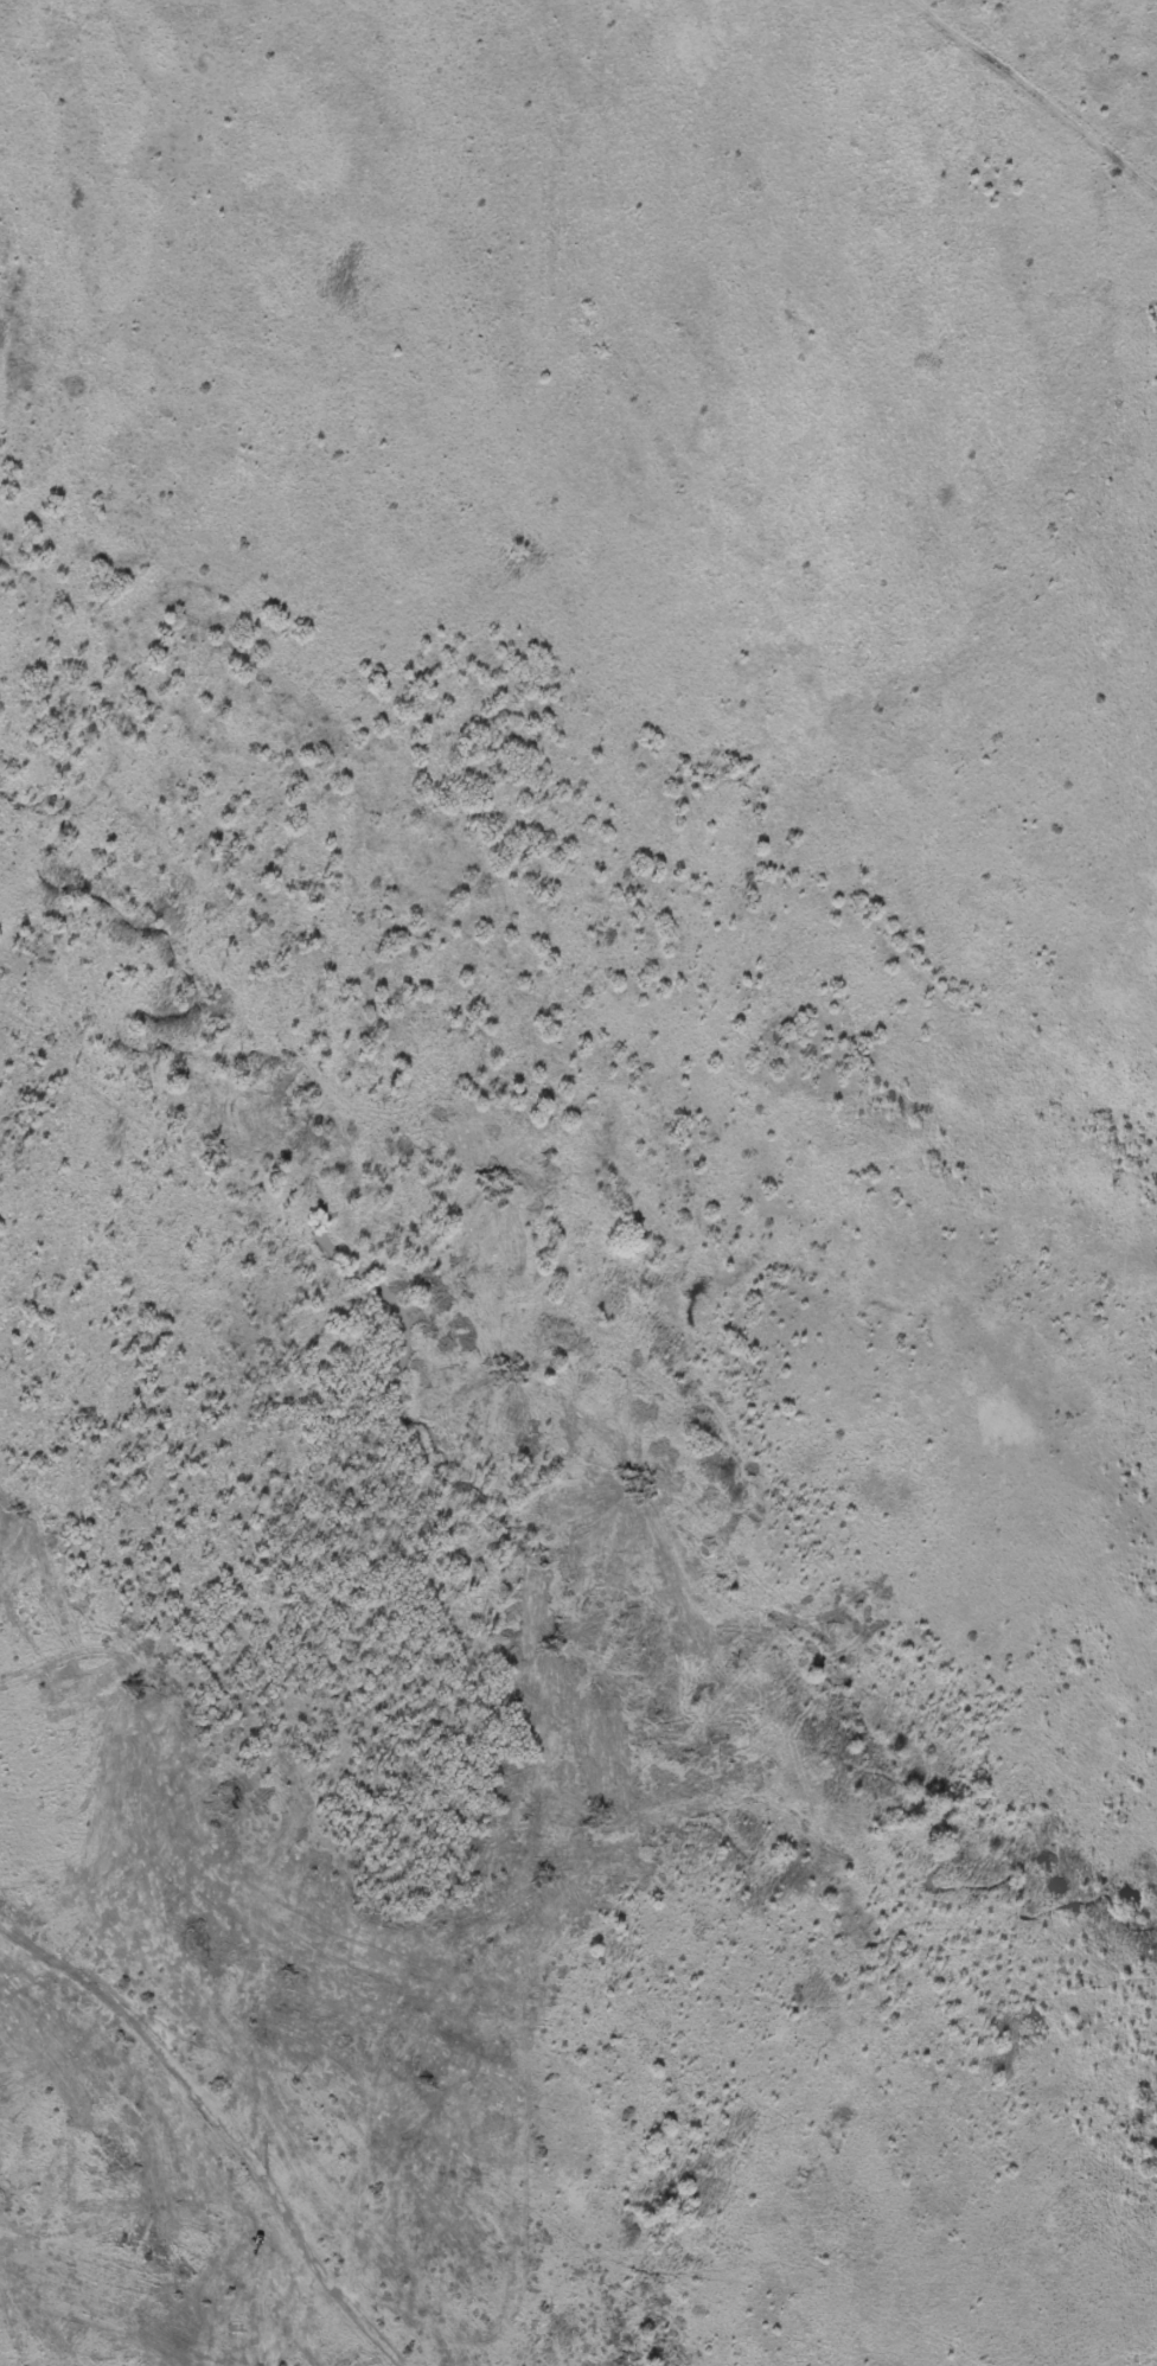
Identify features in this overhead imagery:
road: (262, 2110)

